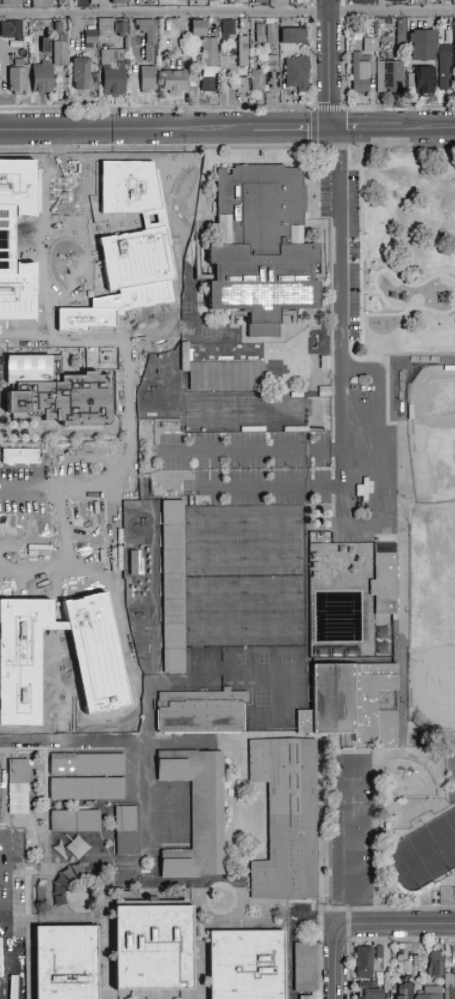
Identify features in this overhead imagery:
building: (198, 0)
building: (213, 1)
building: (394, 1)
building: (444, 1)
building: (118, 2)
building: (260, 2)
building: (298, 2)
building: (303, 2)
building: (362, 2)
building: (11, 3)
building: (148, 3)
building: (278, 3)
building: (42, 4)
road: (227, 13)
building: (244, 24)
building: (110, 28)
building: (198, 28)
building: (227, 28)
building: (11, 30)
building: (259, 33)
building: (271, 34)
building: (401, 34)
building: (292, 36)
building: (90, 39)
building: (148, 39)
building: (454, 40)
building: (370, 43)
building: (126, 44)
building: (423, 44)
building: (46, 46)
building: (60, 46)
building: (385, 46)
building: (243, 51)
building: (209, 52)
building: (19, 62)
road: (328, 64)
building: (444, 66)
building: (113, 72)
building: (297, 73)
building: (362, 73)
building: (81, 74)
building: (272, 74)
building: (389, 76)
building: (42, 78)
building: (148, 79)
building: (17, 80)
building: (424, 81)
building: (173, 82)
building: (257, 82)
building: (209, 85)
building: (242, 85)
road: (398, 107)
road: (157, 108)
road: (314, 114)
road: (428, 127)
road: (291, 128)
traffic signals: (331, 128)
road: (366, 128)
road: (126, 129)
road: (401, 147)
road: (338, 148)
road: (164, 149)
flagpole: (220, 162)
building: (258, 244)
road: (339, 249)
road: (416, 365)
building: (223, 373)
parking lot: (355, 385)
building: (50, 395)
park: (433, 433)
park: (396, 506)
road: (380, 521)
building: (382, 576)
building: (170, 585)
park: (434, 668)
building: (350, 700)
building: (198, 709)
building: (84, 762)
building: (15, 785)
building: (84, 786)
building: (193, 810)
building: (284, 816)
building: (72, 819)
building: (123, 829)
parking lot: (351, 829)
road: (352, 839)
building: (68, 846)
road: (4, 877)
road: (387, 907)
parking lot: (13, 915)
road: (2, 918)
road: (396, 925)
building: (154, 947)
building: (379, 952)
road: (321, 954)
road: (4, 958)
building: (66, 962)
road: (336, 962)
building: (364, 962)
building: (416, 962)
building: (247, 964)
building: (435, 964)
building: (302, 965)
building: (403, 970)
building: (409, 978)
building: (388, 984)
building: (449, 986)
building: (369, 991)
building: (405, 991)
building: (429, 993)
building: (304, 996)

